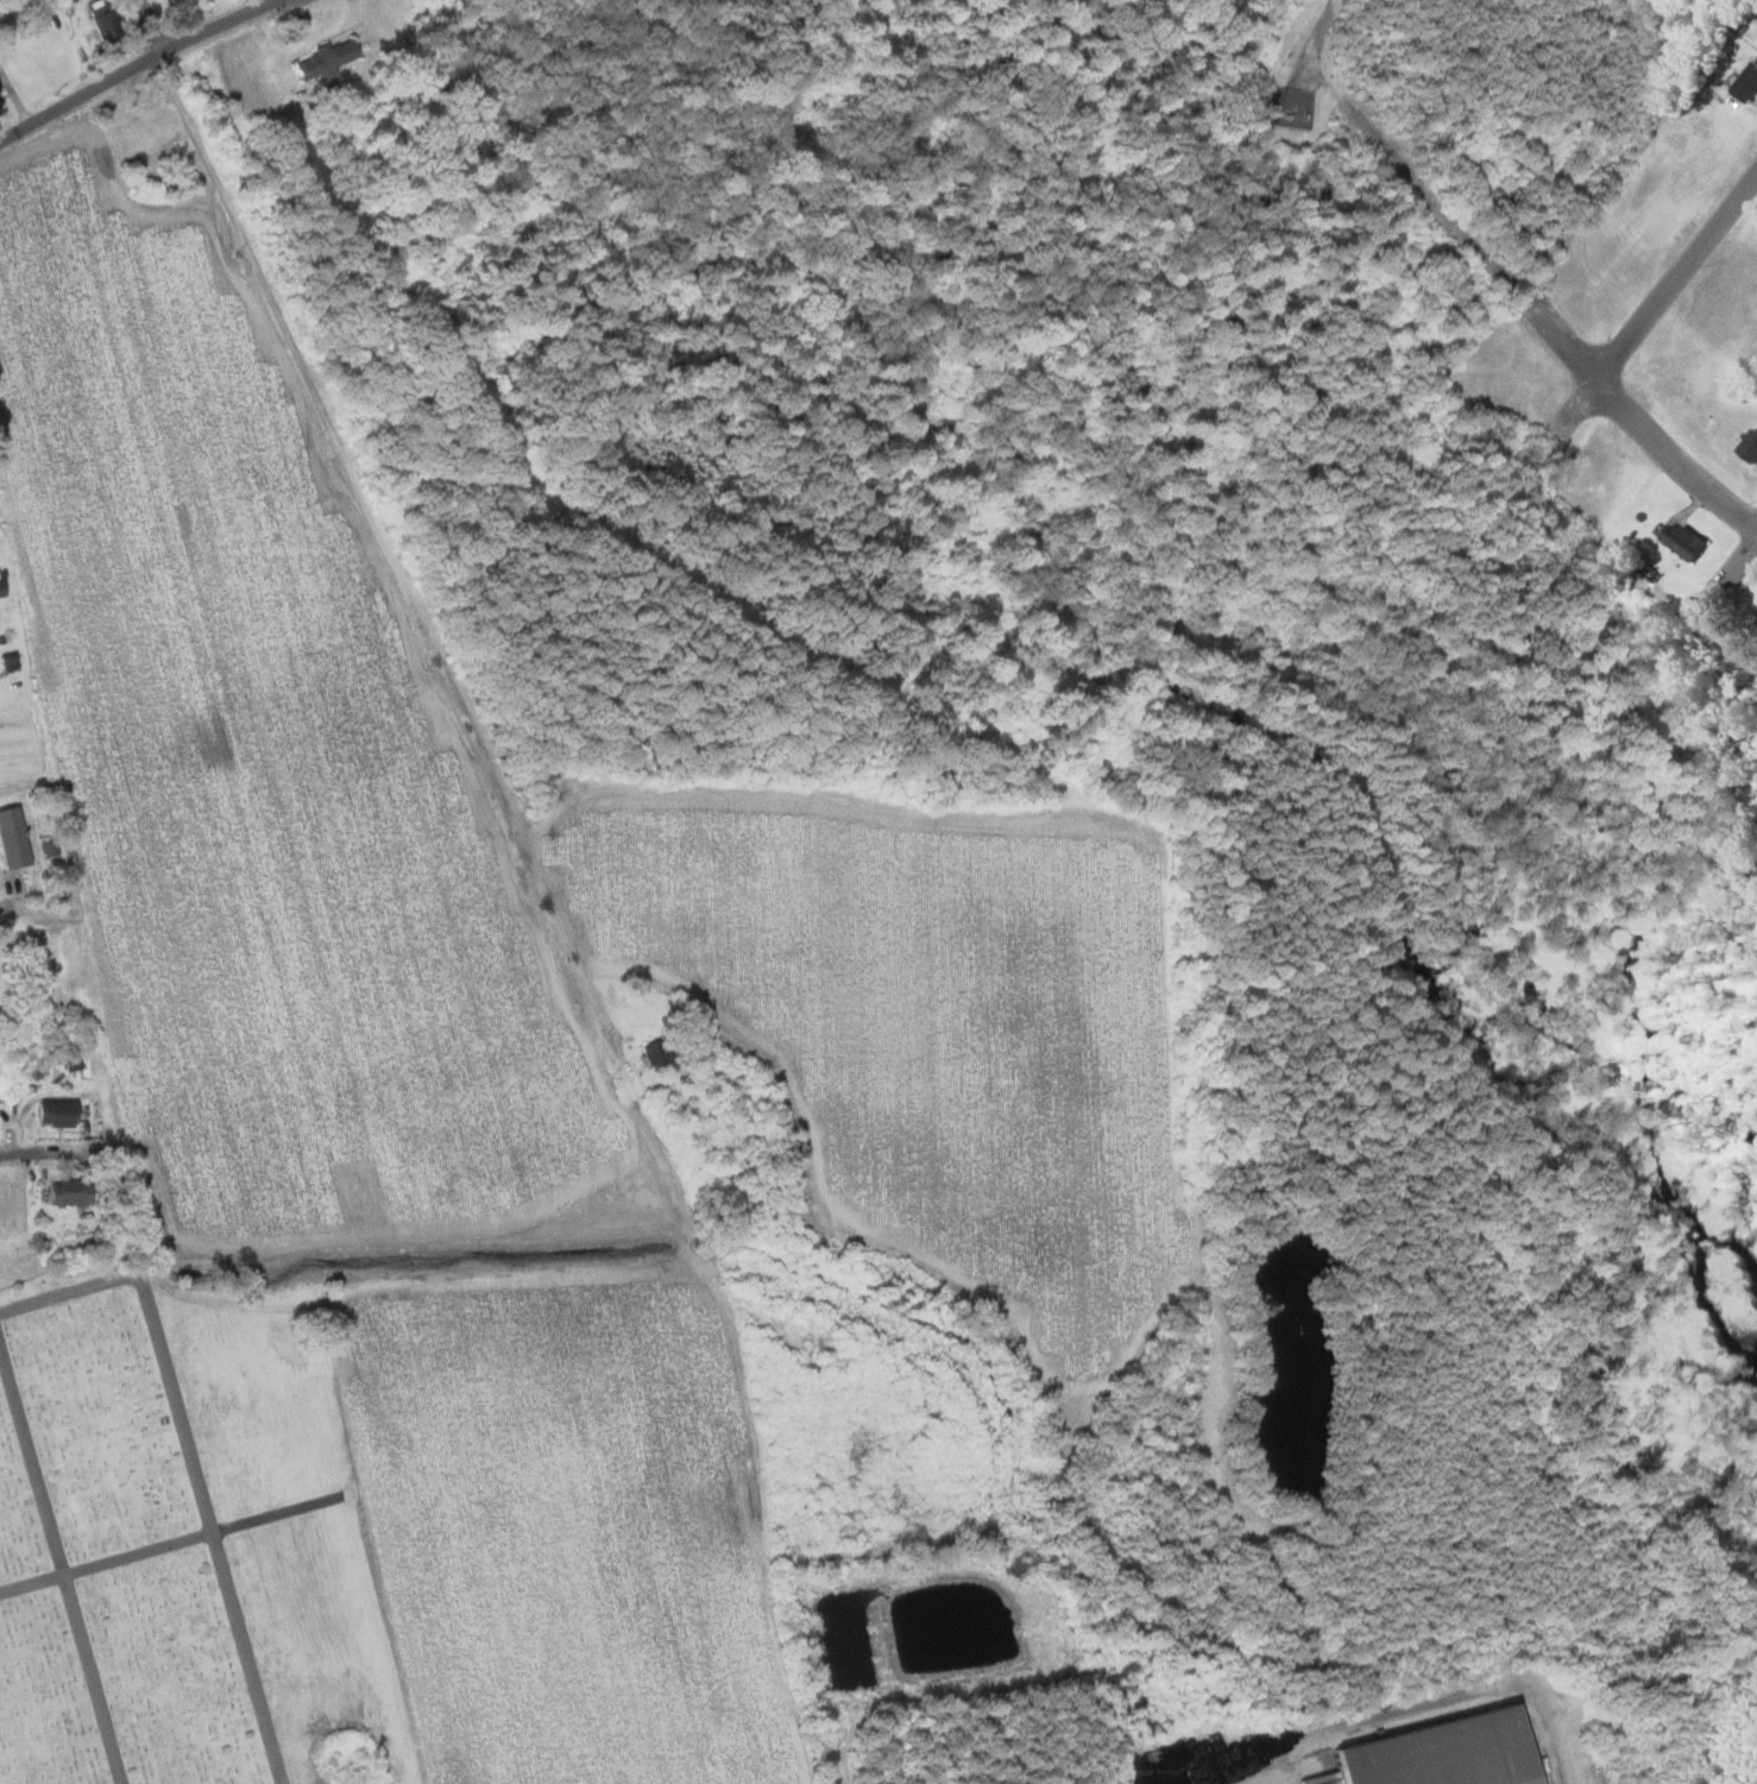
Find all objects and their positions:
building: (176, 4)
building: (107, 20)
road: (153, 29)
road: (1323, 29)
building: (326, 59)
road: (139, 71)
building: (1745, 84)
building: (0, 90)
building: (140, 130)
road: (1676, 276)
road: (1639, 424)
building: (1749, 447)
building: (1681, 540)
road: (383, 543)
building: (4, 587)
building: (13, 662)
building: (17, 836)
building: (654, 1048)
building: (61, 1112)
road: (52, 1156)
building: (74, 1191)
road: (188, 1458)
road: (65, 1558)
road: (141, 1558)
park: (114, 1562)
road: (36, 1588)
building: (1435, 1753)

